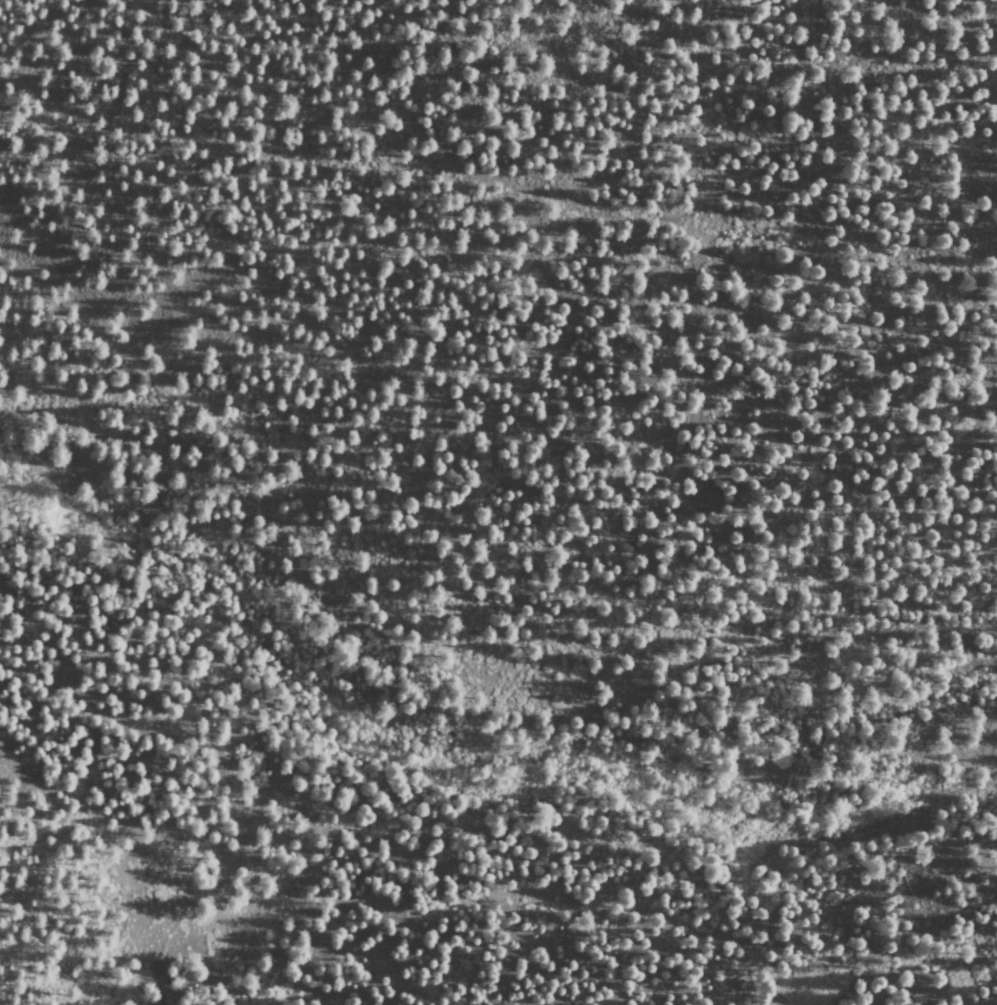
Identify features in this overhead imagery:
road: (456, 742)
road: (155, 954)

